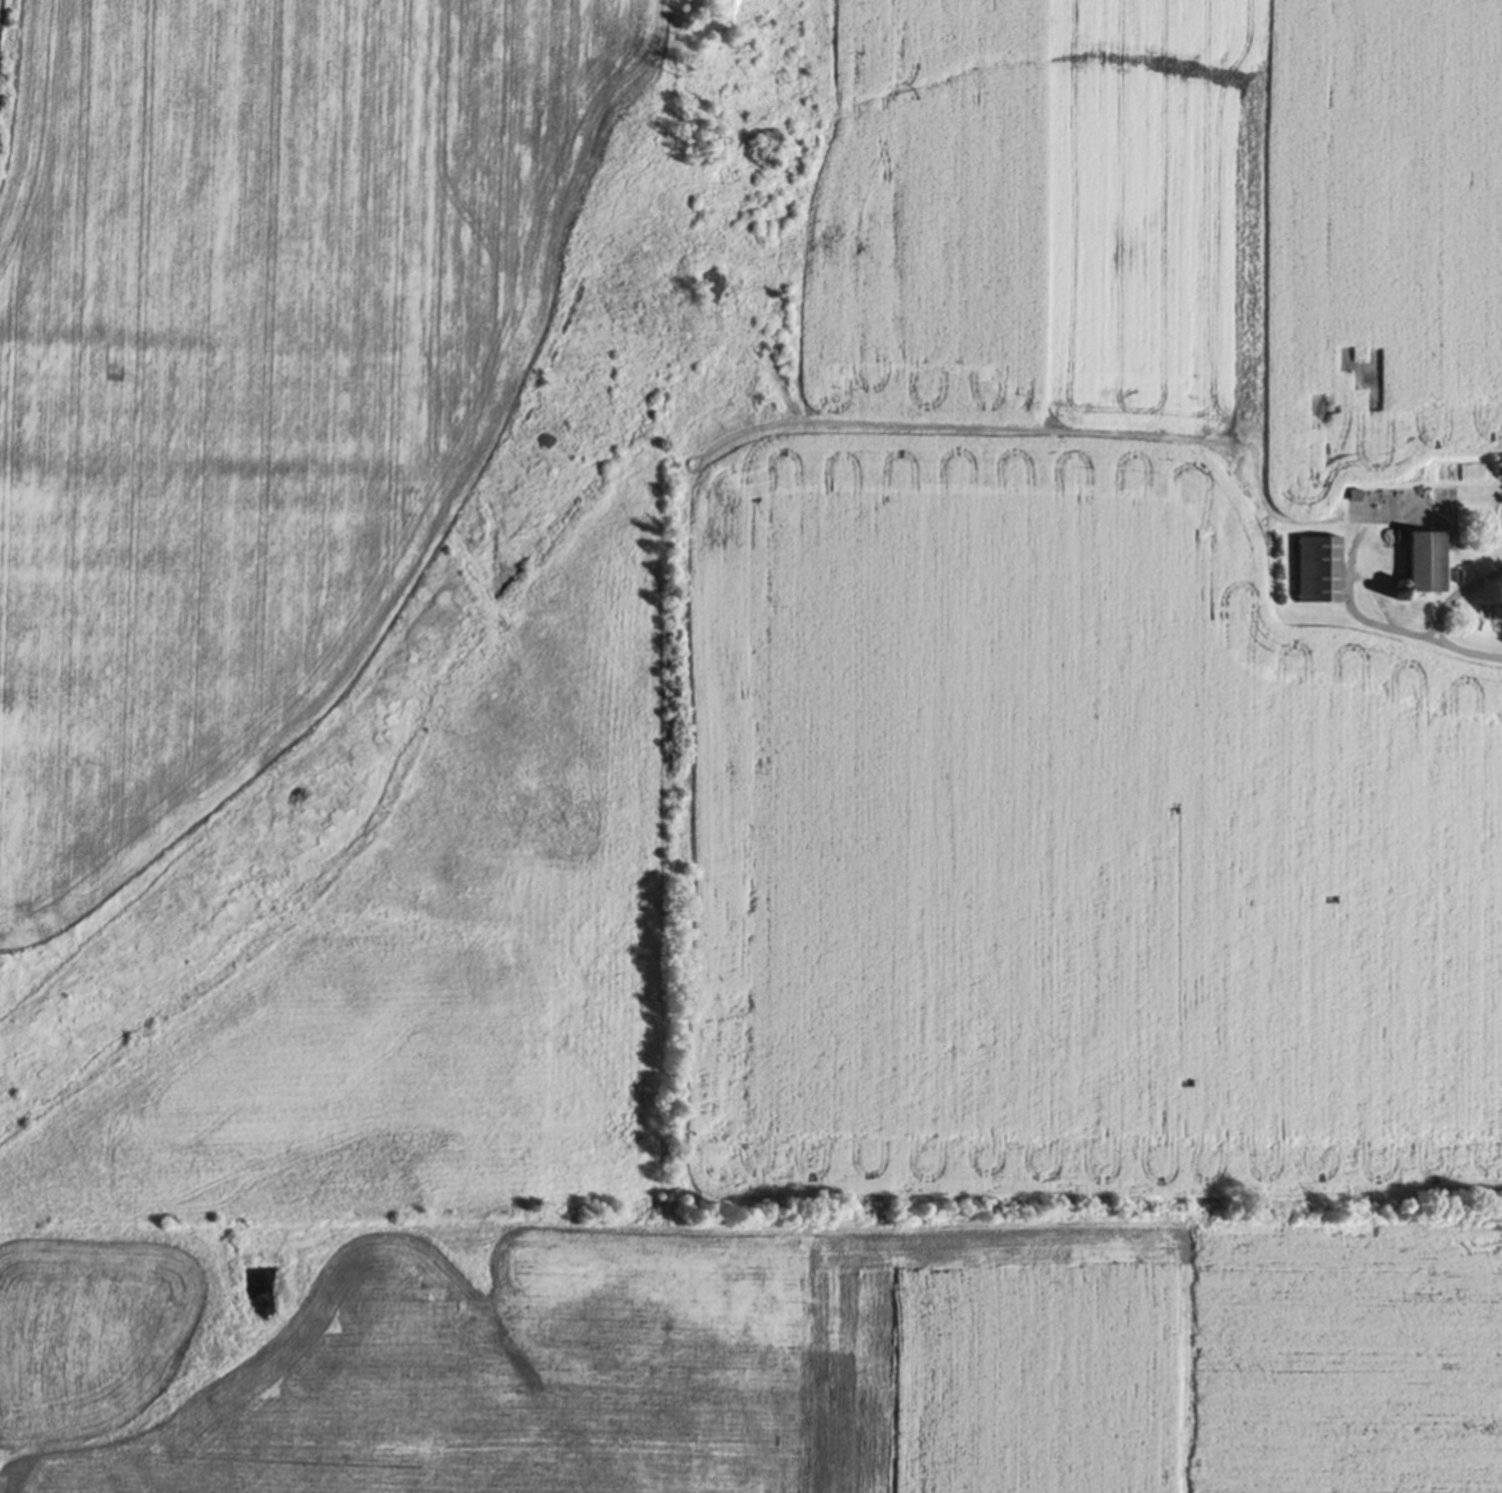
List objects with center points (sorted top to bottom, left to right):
building: (1424, 563)
building: (1318, 570)

